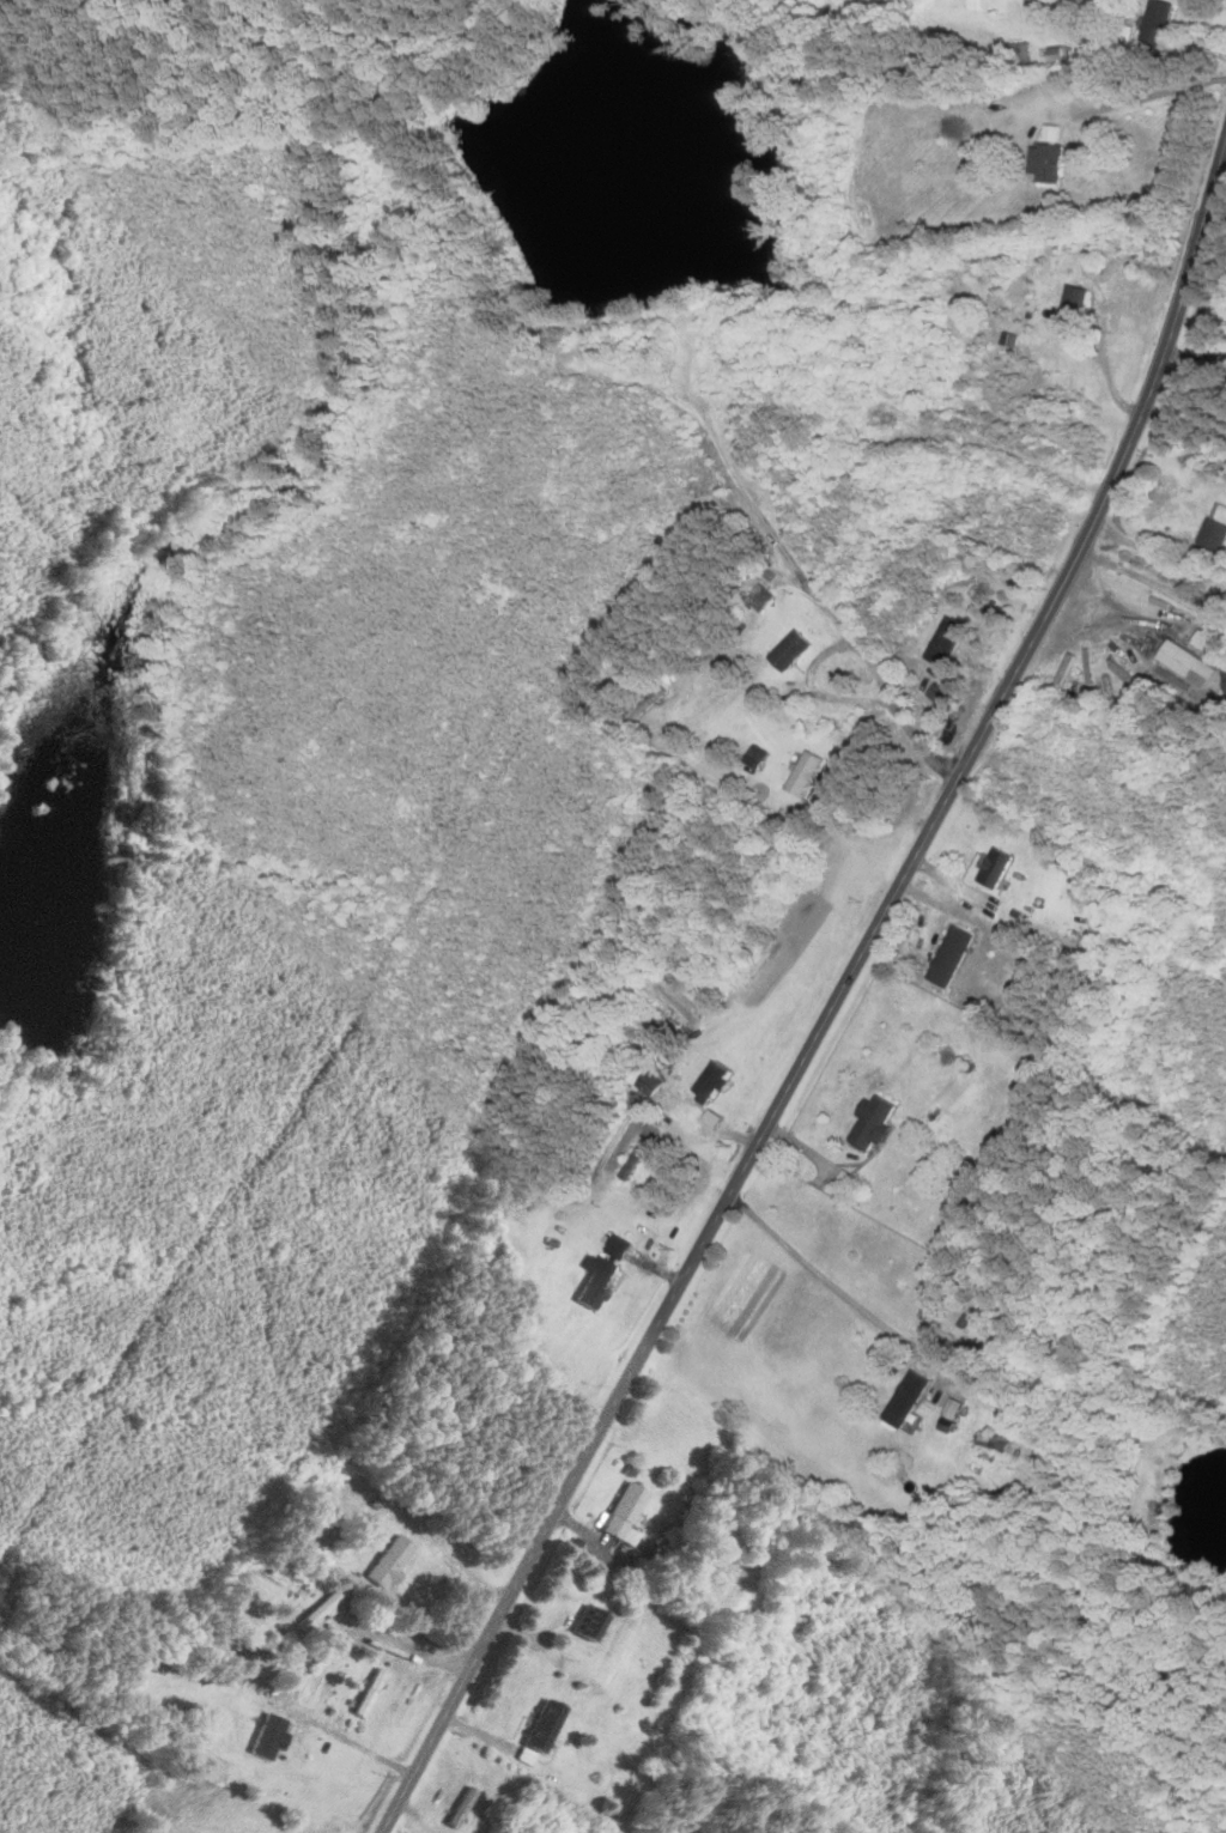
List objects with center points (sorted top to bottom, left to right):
building: (1158, 23)
building: (1010, 54)
road: (1152, 99)
building: (1046, 157)
building: (1074, 303)
building: (1213, 539)
building: (760, 597)
building: (1203, 641)
building: (946, 642)
building: (789, 650)
road: (860, 653)
building: (1179, 658)
building: (1225, 686)
building: (650, 700)
building: (755, 758)
building: (803, 775)
building: (994, 869)
building: (949, 958)
road: (825, 995)
building: (710, 1084)
building: (870, 1123)
road: (527, 1237)
building: (602, 1273)
building: (905, 1398)
building: (991, 1441)
building: (623, 1516)
building: (390, 1562)
building: (318, 1613)
building: (587, 1625)
building: (369, 1694)
building: (541, 1726)
building: (268, 1737)
road: (346, 1738)
building: (461, 1809)

